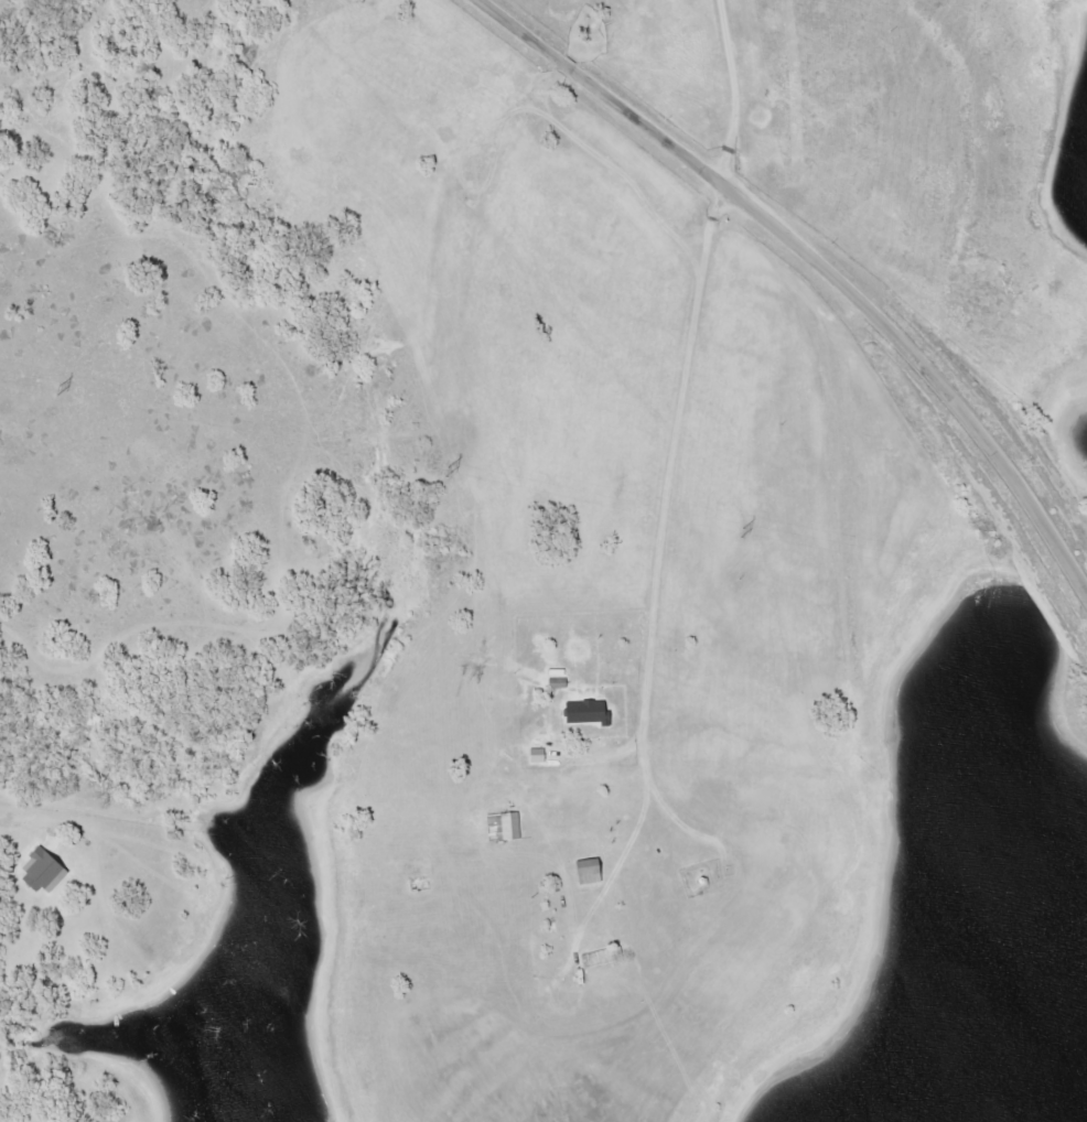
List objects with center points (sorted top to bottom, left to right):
road: (820, 258)
power tower: (57, 389)
power tower: (442, 470)
road: (667, 510)
power tower: (739, 531)
building: (578, 710)
building: (532, 754)
building: (743, 792)
road: (661, 808)
building: (507, 824)
building: (583, 871)
building: (415, 883)
building: (598, 957)

